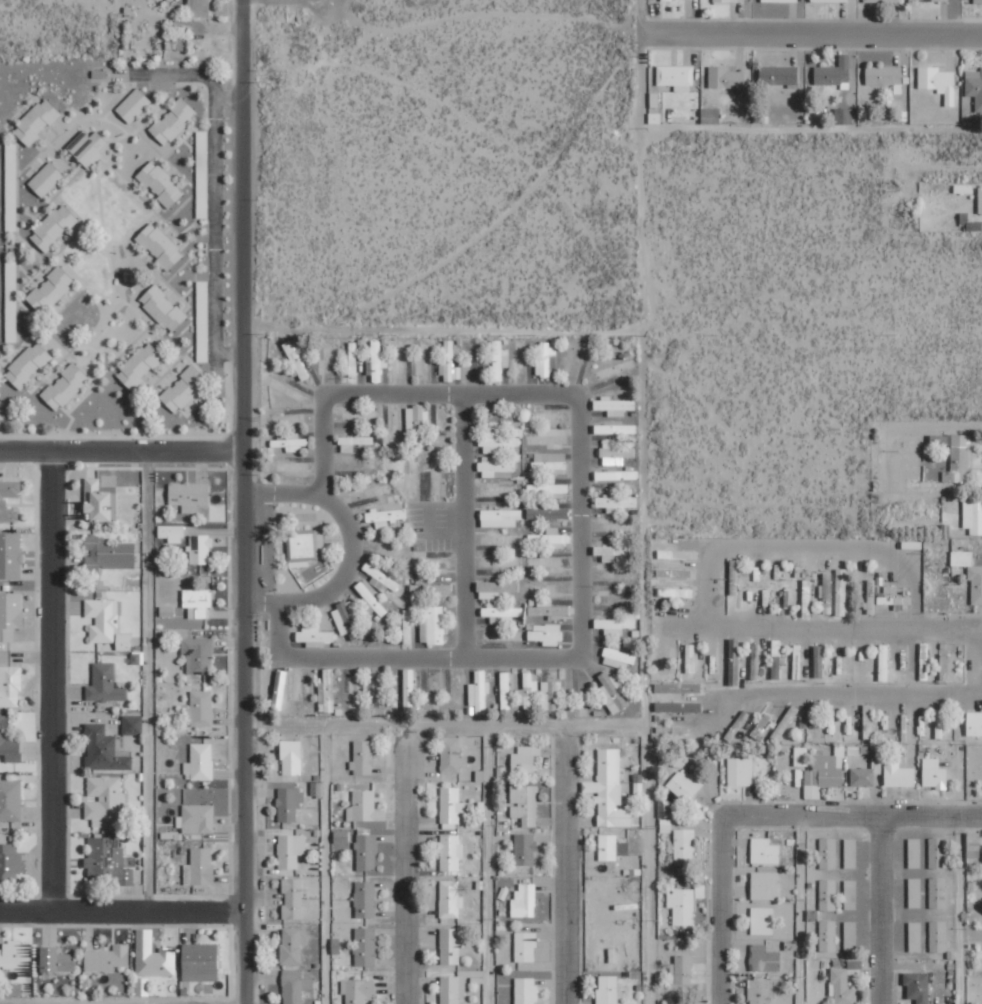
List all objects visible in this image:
building: (781, 0)
building: (936, 0)
building: (726, 1)
building: (830, 1)
building: (881, 1)
building: (978, 1)
building: (199, 8)
road: (810, 31)
building: (176, 42)
building: (835, 72)
road: (107, 74)
building: (779, 75)
building: (886, 76)
building: (676, 77)
building: (726, 77)
building: (938, 82)
building: (975, 87)
road: (228, 96)
road: (638, 101)
building: (134, 105)
building: (711, 115)
building: (843, 115)
building: (37, 121)
building: (173, 121)
building: (88, 147)
building: (46, 179)
building: (161, 183)
building: (980, 200)
building: (54, 227)
road: (212, 231)
building: (160, 246)
building: (51, 290)
building: (163, 308)
building: (202, 312)
building: (296, 359)
building: (352, 359)
building: (500, 360)
building: (546, 360)
building: (376, 362)
building: (451, 362)
building: (28, 365)
building: (140, 365)
building: (65, 386)
building: (184, 389)
road: (577, 399)
building: (614, 406)
building: (499, 419)
building: (416, 423)
building: (604, 429)
building: (291, 442)
building: (349, 443)
building: (498, 443)
road: (121, 451)
building: (615, 454)
building: (956, 454)
building: (549, 462)
building: (496, 468)
building: (616, 475)
building: (549, 488)
road: (282, 491)
building: (189, 496)
building: (98, 501)
road: (242, 502)
building: (3, 503)
building: (616, 504)
building: (548, 512)
building: (385, 516)
building: (973, 516)
building: (500, 518)
road: (464, 525)
building: (172, 533)
road: (642, 533)
building: (554, 538)
road: (802, 539)
road: (349, 542)
building: (304, 547)
building: (200, 550)
building: (612, 552)
building: (108, 553)
building: (678, 555)
building: (10, 556)
building: (970, 574)
building: (381, 578)
building: (430, 588)
building: (496, 590)
building: (840, 592)
building: (828, 593)
building: (871, 597)
building: (370, 598)
building: (894, 598)
building: (198, 602)
road: (260, 604)
building: (549, 610)
building: (500, 613)
building: (10, 615)
building: (345, 617)
building: (102, 619)
building: (618, 624)
building: (432, 625)
road: (800, 630)
building: (545, 634)
building: (503, 635)
building: (314, 636)
building: (123, 642)
building: (198, 655)
road: (261, 657)
road: (430, 657)
building: (617, 657)
building: (776, 660)
building: (948, 667)
building: (409, 679)
building: (733, 680)
road: (52, 681)
road: (148, 681)
building: (104, 684)
building: (10, 686)
building: (678, 688)
building: (279, 689)
building: (505, 690)
building: (528, 690)
building: (353, 691)
building: (327, 692)
building: (479, 692)
building: (612, 692)
building: (550, 696)
building: (678, 707)
building: (200, 708)
building: (974, 724)
building: (132, 725)
building: (8, 743)
building: (104, 750)
building: (452, 755)
building: (800, 756)
building: (291, 758)
building: (363, 758)
building: (525, 759)
building: (200, 763)
building: (740, 772)
building: (824, 773)
building: (898, 774)
building: (934, 774)
building: (862, 777)
building: (685, 785)
building: (609, 791)
building: (10, 800)
building: (105, 800)
building: (289, 804)
building: (524, 804)
building: (451, 806)
building: (365, 807)
road: (759, 813)
building: (196, 819)
building: (341, 837)
building: (973, 845)
building: (684, 847)
building: (612, 848)
building: (525, 849)
building: (291, 851)
building: (366, 852)
building: (764, 852)
building: (450, 853)
building: (828, 853)
building: (850, 853)
building: (914, 853)
building: (937, 853)
building: (9, 861)
building: (107, 862)
building: (199, 868)
road: (564, 869)
road: (405, 872)
building: (765, 886)
building: (915, 893)
building: (937, 893)
building: (850, 894)
building: (828, 895)
building: (293, 899)
building: (365, 899)
building: (450, 899)
building: (524, 901)
road: (881, 909)
road: (121, 911)
building: (761, 921)
building: (828, 936)
building: (850, 936)
building: (915, 937)
building: (938, 937)
building: (292, 945)
building: (335, 946)
building: (451, 946)
building: (365, 947)
building: (525, 947)
building: (15, 955)
building: (153, 957)
building: (107, 959)
building: (764, 959)
building: (57, 961)
building: (201, 963)
building: (681, 970)
building: (842, 985)
building: (455, 986)
building: (918, 986)
building: (142, 987)
building: (296, 988)
building: (526, 990)
building: (607, 990)
building: (358, 991)
building: (759, 992)

